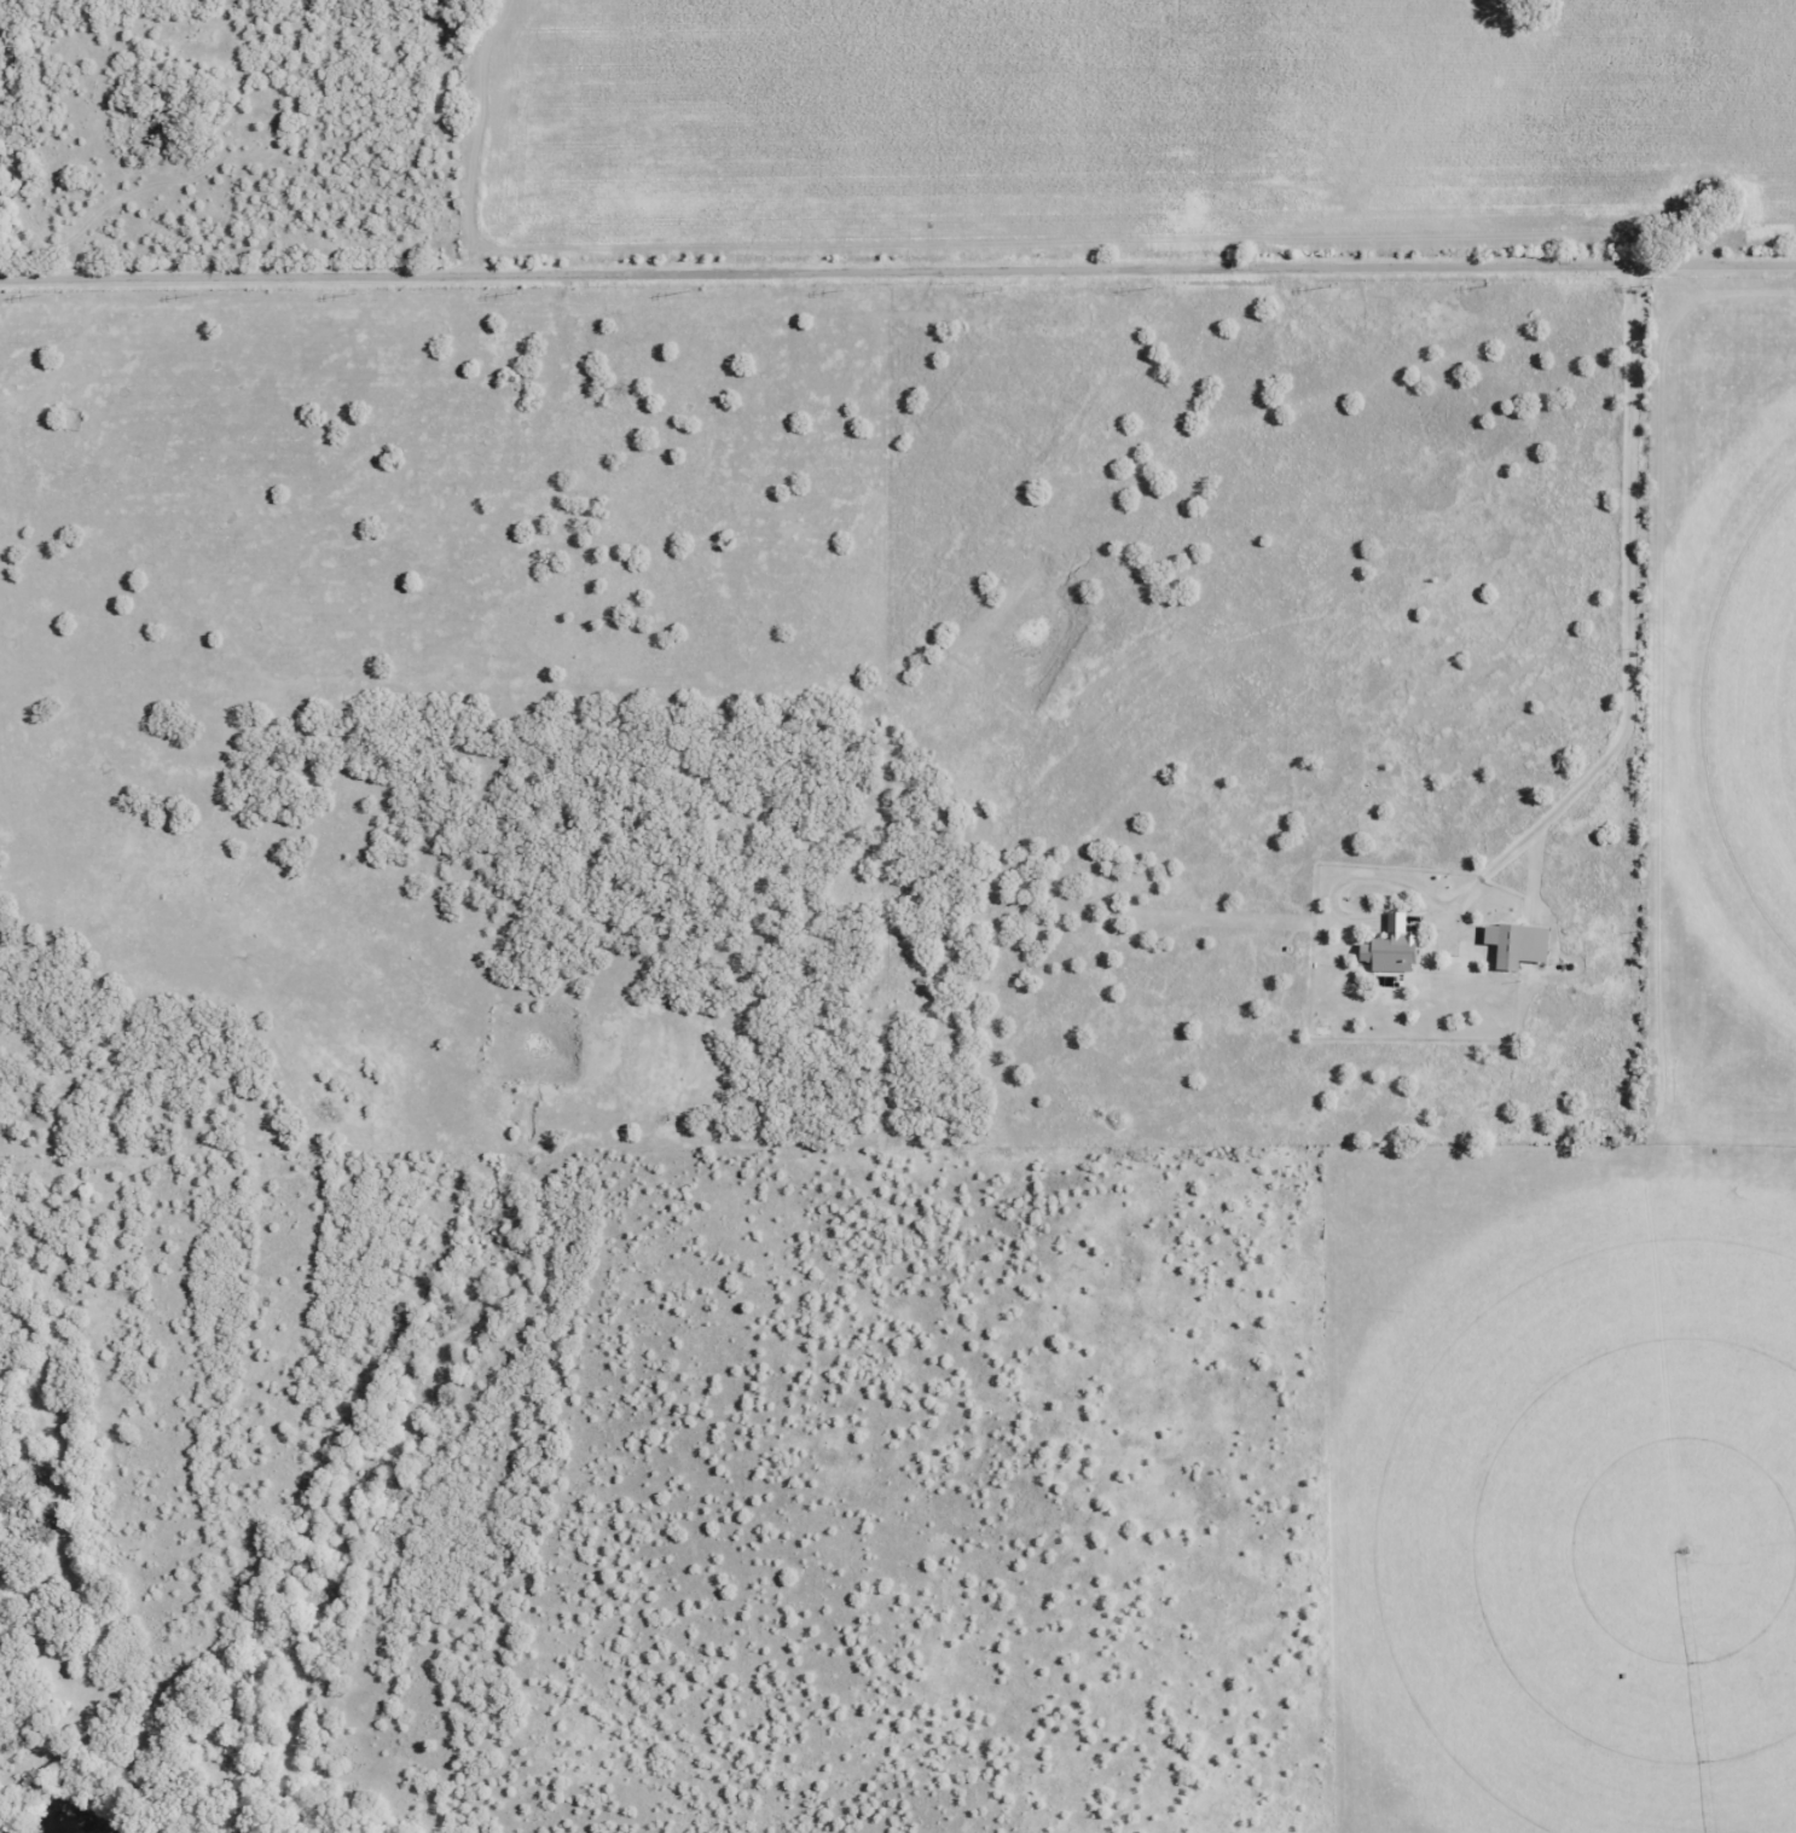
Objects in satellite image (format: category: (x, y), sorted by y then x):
road: (897, 269)
power tower: (1489, 282)
power tower: (1651, 282)
power tower: (1326, 284)
power tower: (1149, 285)
power tower: (1004, 286)
power tower: (688, 288)
power tower: (844, 288)
power tower: (516, 290)
power tower: (354, 291)
power tower: (198, 292)
power tower: (39, 294)
building: (1502, 944)
building: (1389, 947)
road: (27, 1599)

